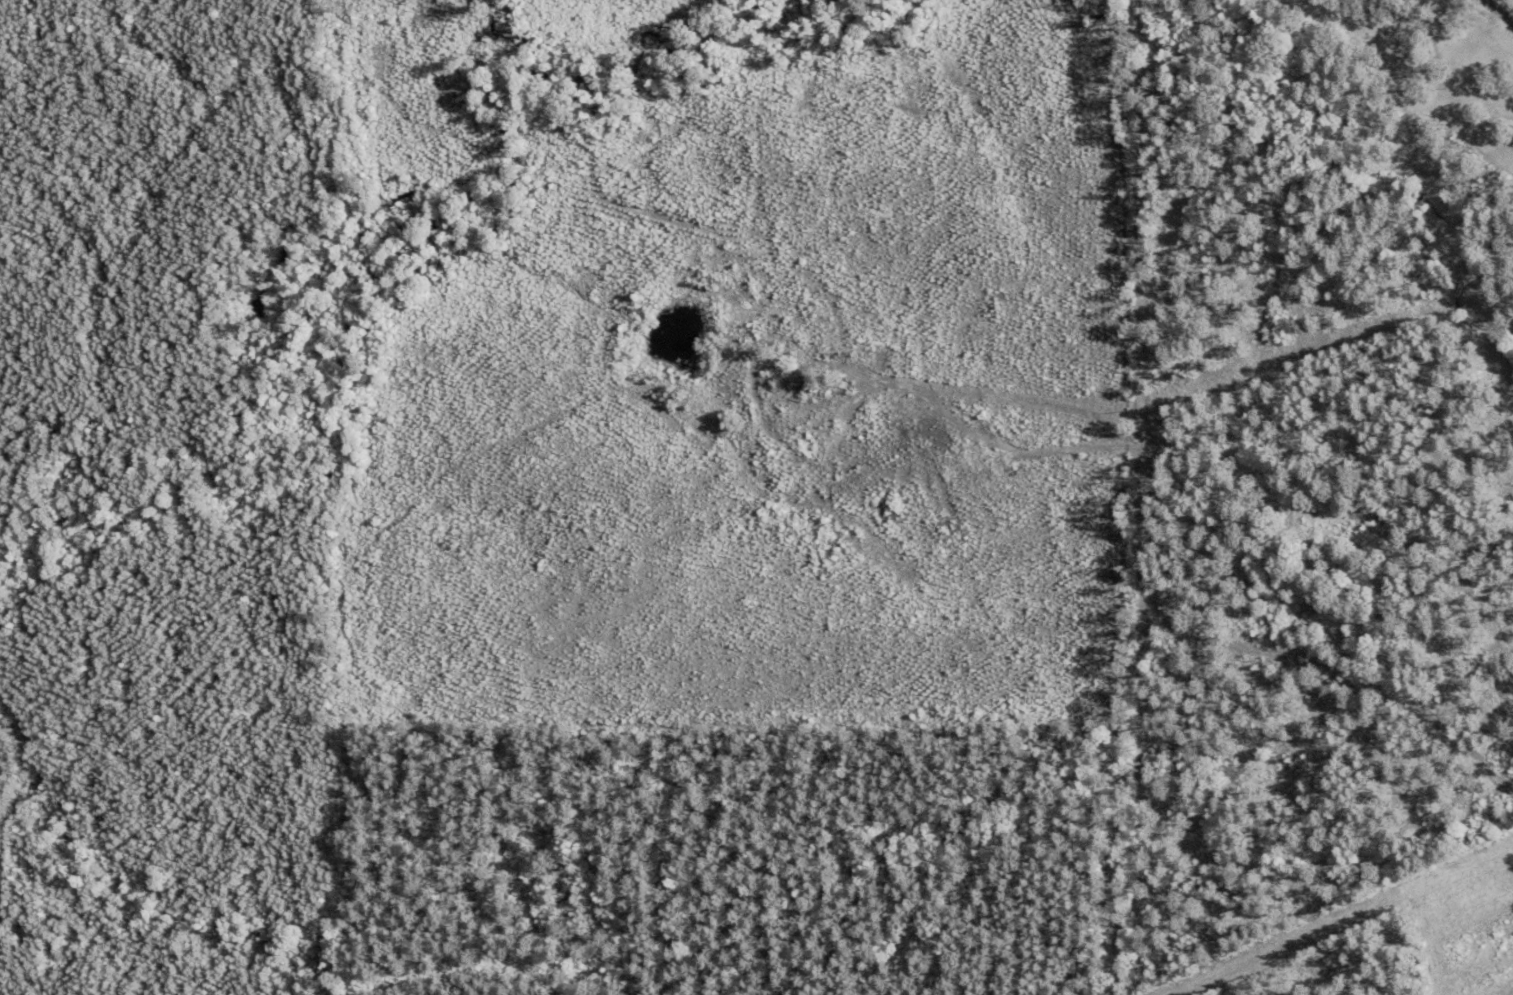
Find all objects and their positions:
road: (1502, 6)

